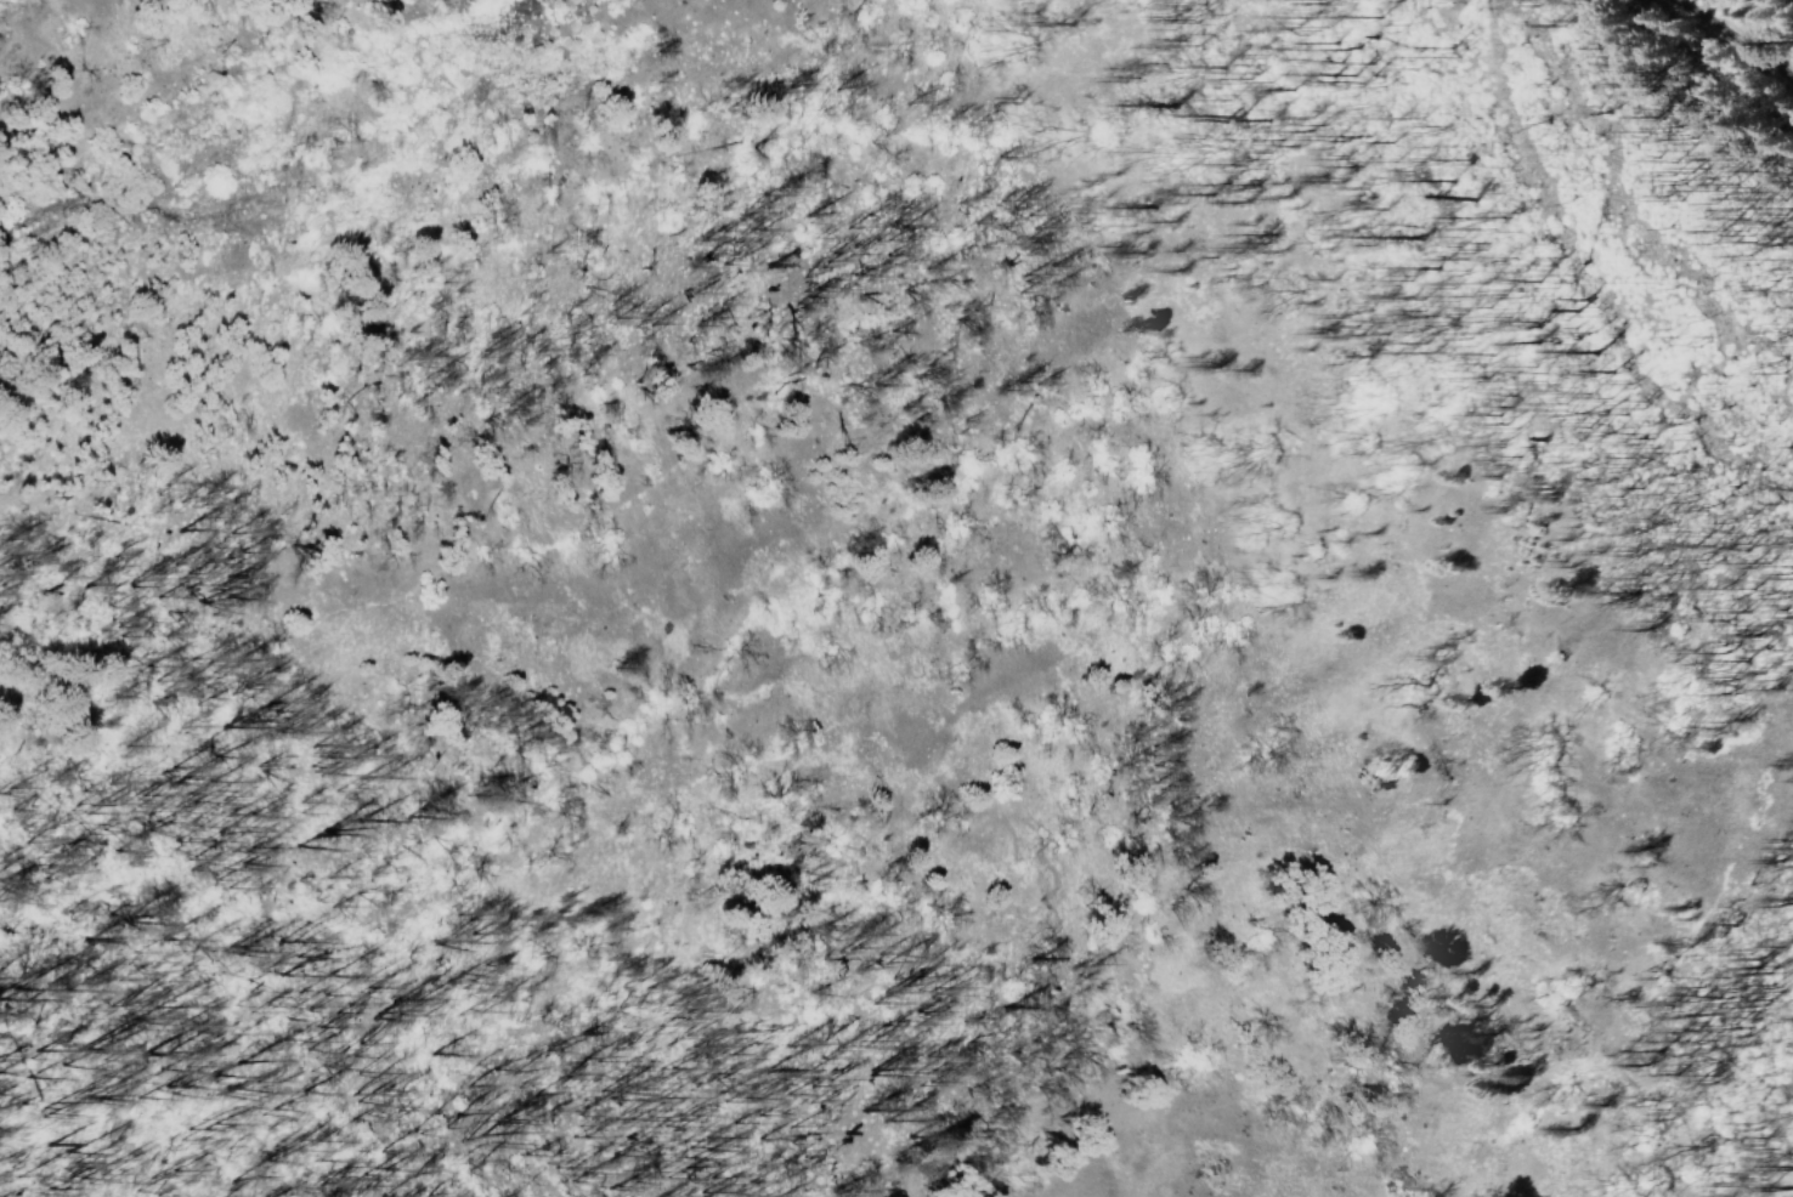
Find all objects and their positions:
road: (1712, 68)

